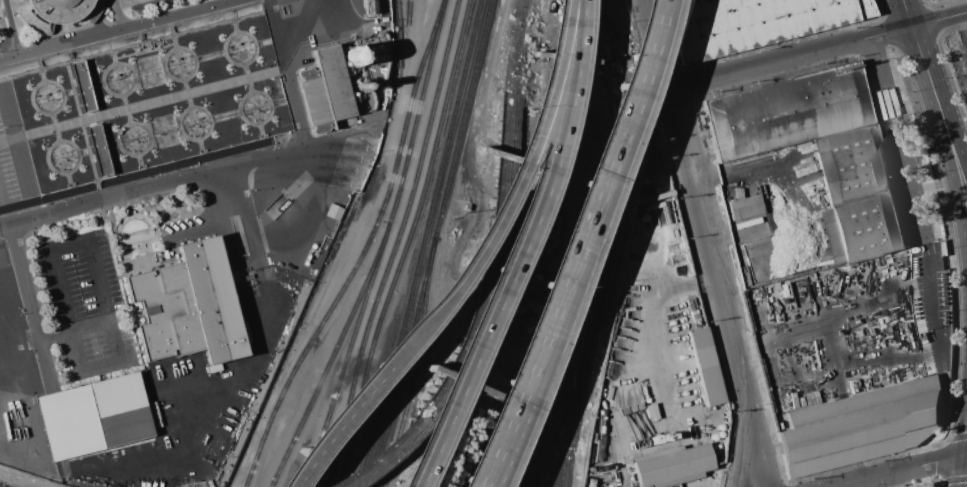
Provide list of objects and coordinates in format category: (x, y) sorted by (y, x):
building: (15, 0)
building: (370, 7)
road: (961, 7)
building: (56, 12)
road: (910, 13)
road: (965, 18)
road: (941, 20)
building: (760, 23)
road: (318, 26)
road: (117, 30)
railway: (400, 38)
railway: (521, 47)
road: (924, 57)
road: (791, 59)
road: (948, 65)
parking lot: (961, 70)
building: (82, 86)
building: (326, 89)
road: (951, 125)
road: (896, 135)
road: (303, 138)
road: (608, 142)
building: (99, 150)
building: (820, 151)
road: (336, 156)
road: (952, 161)
parking lot: (6, 173)
road: (152, 185)
road: (504, 200)
park: (966, 201)
building: (745, 207)
building: (334, 212)
wastewater plant: (168, 218)
road: (236, 226)
parking lot: (186, 228)
road: (194, 230)
road: (228, 241)
road: (709, 241)
railway: (404, 243)
railway: (396, 244)
railway: (420, 244)
railway: (432, 244)
railway: (381, 245)
railway: (608, 245)
road: (515, 249)
railway: (363, 251)
road: (100, 283)
building: (189, 305)
road: (653, 305)
parking lot: (82, 306)
road: (30, 307)
railway: (481, 312)
road: (4, 324)
road: (54, 332)
railway: (332, 355)
building: (706, 366)
railway: (412, 374)
parking lot: (223, 375)
road: (524, 384)
road: (515, 385)
road: (216, 392)
building: (93, 415)
road: (331, 426)
building: (860, 426)
railway: (571, 428)
road: (760, 450)
road: (966, 453)
road: (965, 462)
railway: (557, 464)
building: (672, 465)
road: (900, 470)
road: (21, 480)
road: (965, 480)
park: (966, 481)
building: (927, 485)

